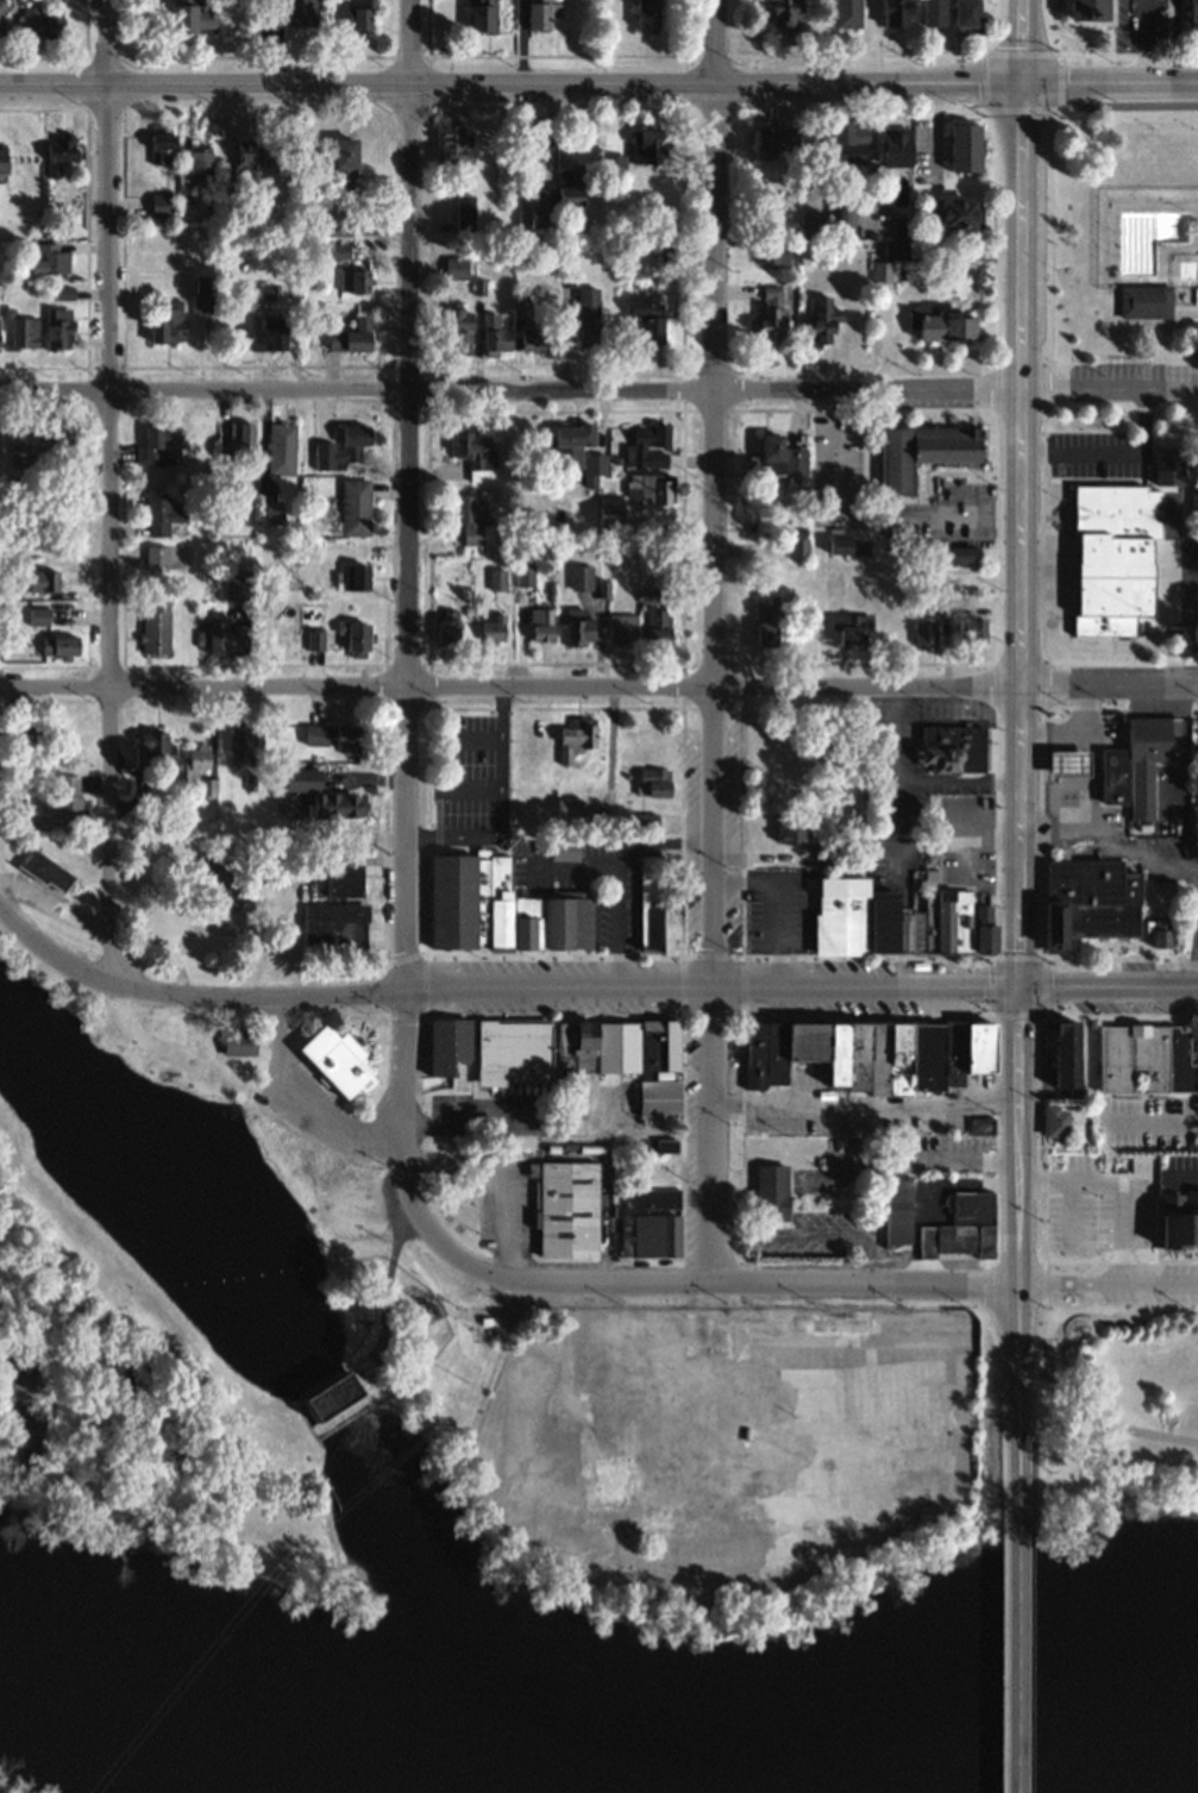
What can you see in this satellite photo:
building: (1087, 8)
building: (1193, 11)
building: (291, 12)
building: (896, 12)
building: (788, 13)
building: (935, 13)
building: (538, 14)
building: (848, 14)
building: (967, 14)
building: (482, 15)
building: (646, 15)
building: (193, 18)
building: (359, 18)
building: (38, 21)
parking lot: (1139, 24)
road: (1140, 38)
road: (1020, 39)
road: (1115, 51)
road: (1109, 77)
traffic signals: (1021, 79)
road: (510, 80)
street lamp: (75, 105)
street lamp: (439, 106)
street lamp: (1042, 126)
road: (937, 130)
building: (851, 138)
building: (531, 139)
building: (450, 142)
building: (161, 143)
building: (778, 143)
building: (645, 145)
building: (898, 148)
building: (967, 148)
building: (57, 151)
building: (0, 155)
building: (199, 159)
building: (343, 162)
building: (611, 163)
building: (245, 164)
building: (571, 183)
building: (161, 202)
building: (542, 207)
building: (464, 211)
building: (962, 215)
building: (843, 221)
building: (331, 224)
building: (813, 226)
building: (904, 230)
park: (1109, 232)
street lamp: (87, 238)
building: (331, 249)
building: (896, 250)
building: (48, 257)
building: (809, 257)
building: (771, 258)
building: (456, 265)
building: (883, 272)
building: (353, 278)
building: (203, 293)
building: (1146, 297)
building: (244, 299)
building: (773, 315)
building: (585, 316)
building: (646, 316)
building: (167, 319)
building: (823, 321)
building: (57, 326)
building: (19, 327)
building: (457, 328)
building: (948, 328)
building: (265, 332)
building: (495, 332)
building: (531, 333)
building: (350, 336)
parking lot: (1135, 375)
road: (1108, 387)
road: (509, 390)
street lamp: (88, 416)
building: (239, 432)
building: (51, 439)
building: (161, 444)
building: (646, 445)
building: (340, 446)
building: (280, 447)
building: (577, 449)
building: (475, 451)
building: (920, 451)
parking lot: (1078, 451)
road: (1114, 454)
building: (776, 460)
building: (1167, 465)
building: (651, 487)
flagpole: (1062, 489)
road: (107, 493)
road: (711, 493)
road: (407, 497)
building: (355, 504)
building: (609, 510)
building: (272, 512)
building: (161, 513)
building: (472, 518)
road: (868, 518)
road: (1018, 532)
road: (1040, 534)
building: (841, 546)
building: (921, 546)
building: (798, 550)
building: (155, 554)
building: (1115, 554)
building: (961, 558)
building: (579, 575)
building: (525, 576)
building: (40, 578)
building: (352, 578)
building: (496, 579)
building: (238, 583)
building: (943, 607)
building: (36, 610)
building: (272, 612)
building: (766, 619)
building: (541, 623)
building: (657, 625)
building: (153, 626)
building: (622, 626)
building: (493, 627)
building: (446, 628)
building: (578, 628)
building: (976, 632)
building: (224, 633)
building: (852, 633)
building: (926, 633)
building: (186, 634)
building: (355, 637)
building: (314, 640)
building: (57, 644)
road: (1108, 682)
road: (509, 685)
street lamp: (437, 700)
road: (469, 732)
building: (533, 734)
building: (332, 735)
building: (573, 736)
building: (238, 741)
building: (151, 742)
building: (953, 750)
road: (498, 756)
road: (610, 756)
building: (1148, 760)
building: (1070, 765)
gas station: (1070, 765)
building: (199, 769)
parking lot: (468, 773)
building: (1115, 773)
building: (300, 777)
road: (958, 780)
building: (653, 782)
road: (898, 784)
road: (466, 789)
road: (1092, 796)
building: (64, 800)
building: (337, 803)
building: (569, 808)
building: (961, 811)
building: (608, 820)
building: (647, 822)
road: (465, 833)
building: (794, 833)
road: (418, 834)
road: (661, 839)
road: (958, 839)
parking lot: (966, 842)
building: (565, 851)
parking lot: (1163, 854)
road: (760, 858)
building: (827, 858)
road: (321, 860)
road: (970, 863)
building: (43, 870)
building: (271, 870)
road: (1196, 871)
road: (569, 876)
building: (932, 877)
building: (341, 878)
building: (215, 880)
building: (1089, 899)
building: (470, 901)
building: (647, 902)
road: (776, 904)
road: (617, 905)
road: (55, 911)
parking lot: (776, 911)
building: (842, 916)
building: (533, 917)
building: (956, 921)
building: (885, 922)
building: (332, 923)
building: (570, 923)
building: (670, 926)
building: (928, 926)
building: (985, 929)
building: (909, 933)
building: (1163, 933)
building: (525, 934)
road: (1059, 955)
road: (617, 968)
parking lot: (1159, 970)
traffic signals: (1017, 986)
road: (1108, 986)
road: (494, 990)
flagpole: (1187, 1020)
building: (808, 1039)
building: (444, 1042)
building: (980, 1043)
parking lot: (1193, 1043)
building: (239, 1046)
building: (576, 1046)
building: (619, 1048)
building: (660, 1048)
building: (512, 1052)
building: (765, 1052)
building: (839, 1052)
building: (859, 1052)
building: (954, 1052)
building: (928, 1054)
building: (1068, 1055)
building: (890, 1057)
building: (337, 1059)
building: (1146, 1061)
building: (665, 1077)
road: (299, 1099)
road: (971, 1099)
building: (663, 1101)
road: (730, 1102)
road: (839, 1104)
road: (401, 1115)
road: (556, 1120)
building: (1055, 1123)
parking lot: (1147, 1123)
road: (1149, 1123)
building: (980, 1126)
road: (710, 1136)
road: (1017, 1136)
building: (660, 1147)
road: (1108, 1154)
road: (1004, 1158)
road: (912, 1159)
road: (1185, 1177)
road: (1043, 1185)
road: (921, 1187)
building: (770, 1193)
parking lot: (1093, 1208)
building: (565, 1209)
road: (1124, 1209)
building: (898, 1212)
building: (1180, 1220)
road: (503, 1224)
building: (647, 1224)
building: (961, 1228)
road: (811, 1234)
road: (1070, 1237)
parking lot: (1180, 1277)
road: (1108, 1285)
road: (711, 1286)
power substation: (426, 1304)
road: (1049, 1310)
road: (1017, 1367)
building: (345, 1384)
dam: (337, 1398)
park: (1106, 1400)
building: (664, 1431)
road: (1105, 1434)
building: (565, 1494)
road: (1020, 1620)
river: (591, 1772)

